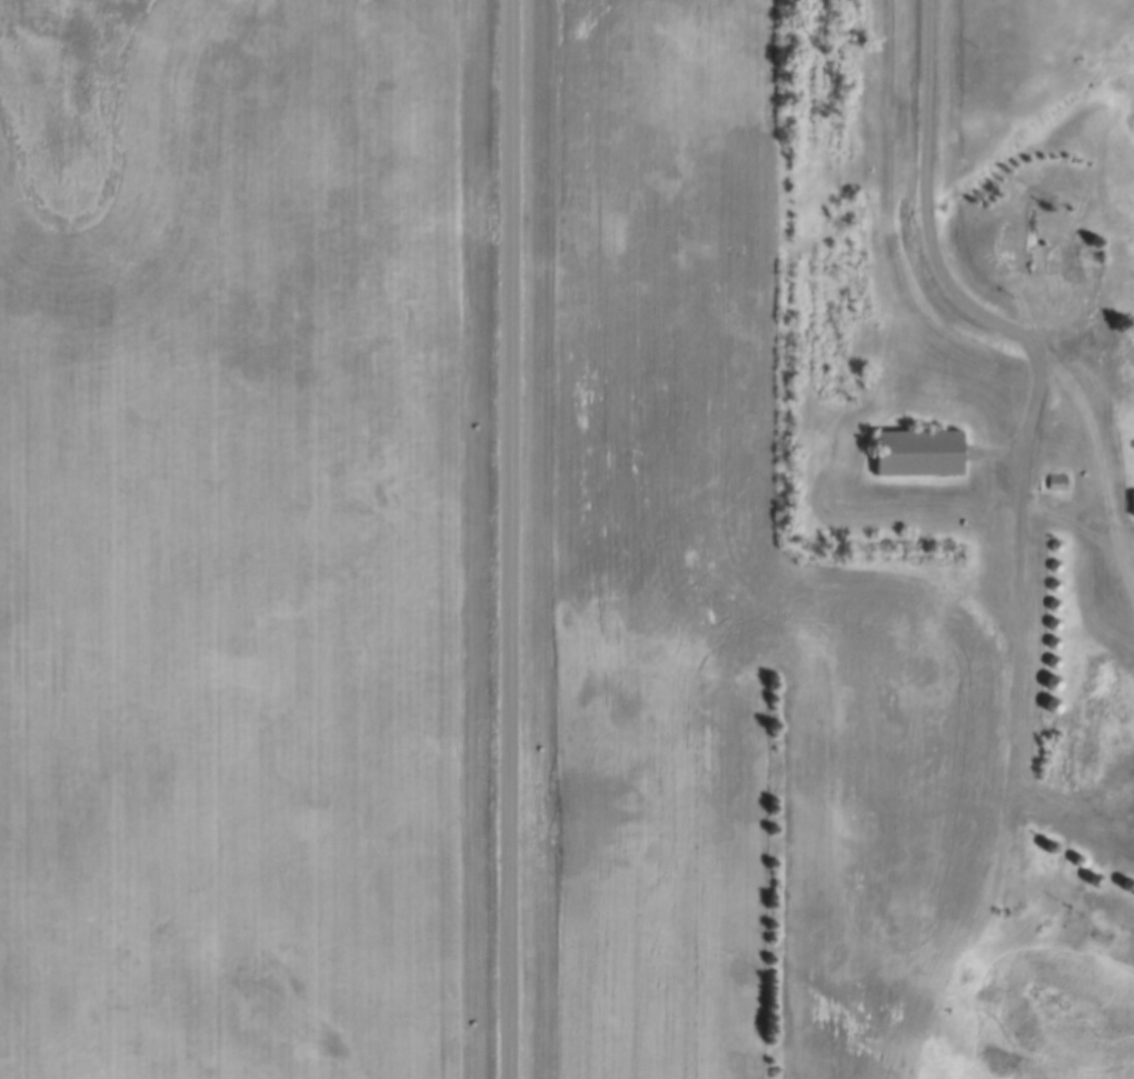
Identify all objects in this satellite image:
building: (1073, 258)
building: (1127, 339)
road: (1034, 390)
building: (918, 453)
building: (1057, 482)
building: (1132, 503)
road: (506, 539)
building: (1128, 885)

